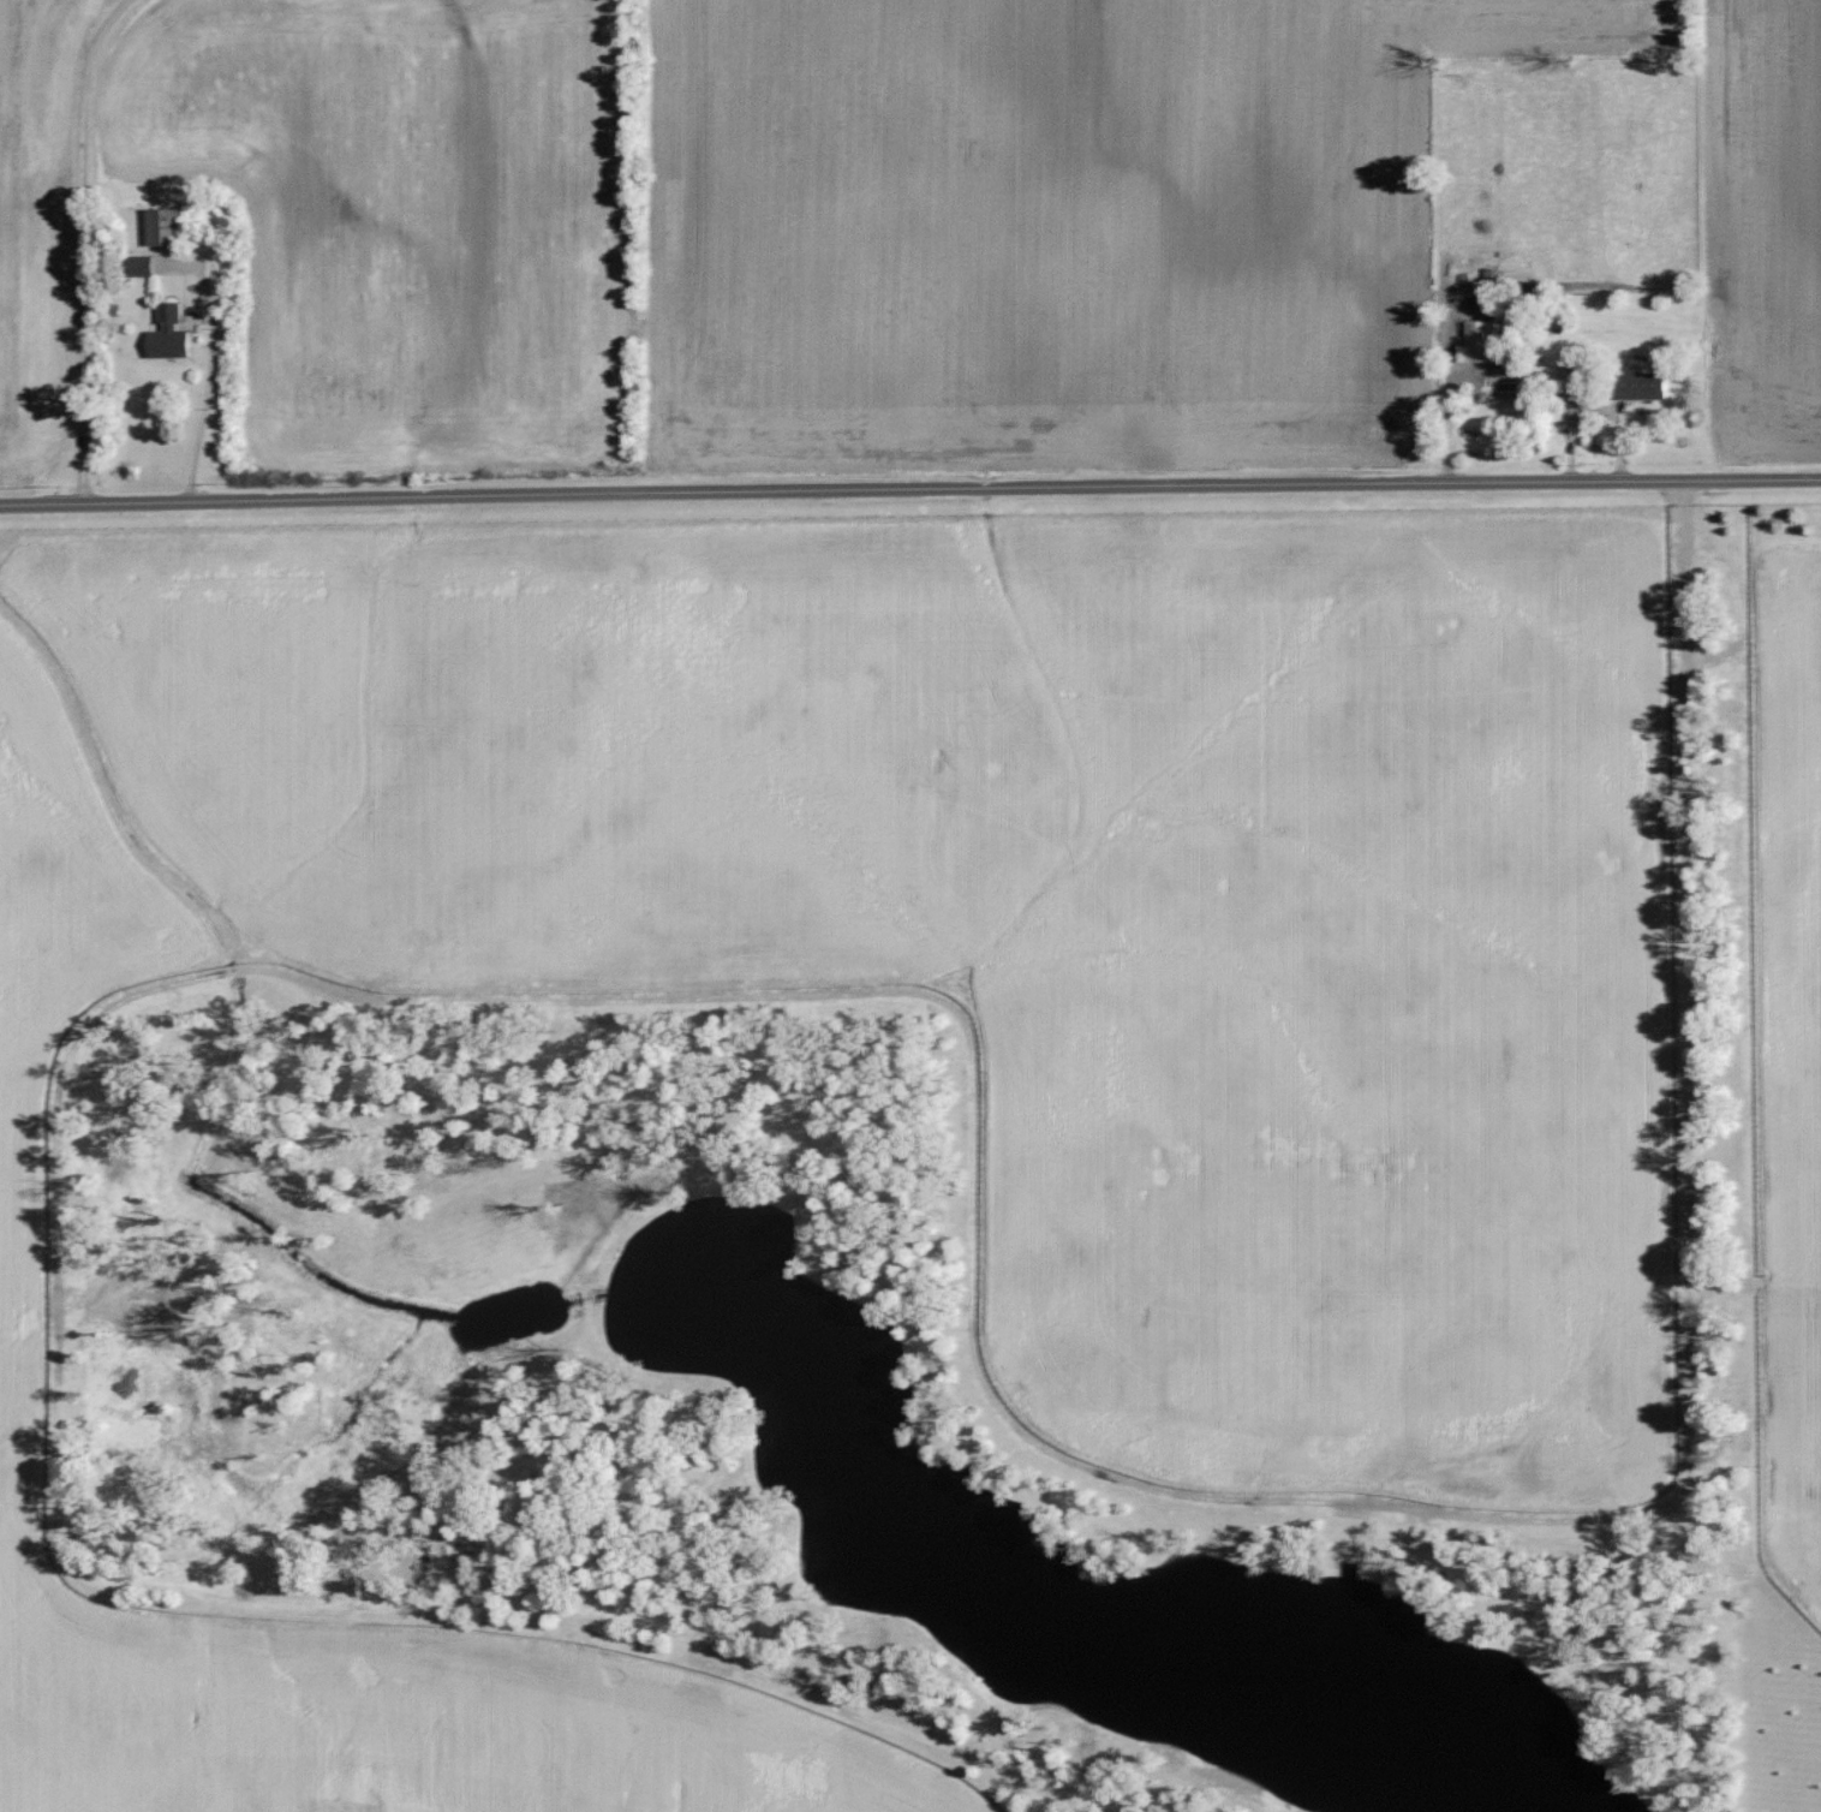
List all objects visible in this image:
building: (168, 228)
road: (85, 248)
building: (147, 264)
building: (173, 334)
building: (1481, 342)
building: (1571, 372)
building: (1648, 386)
road: (205, 401)
road: (1596, 407)
road: (909, 489)

